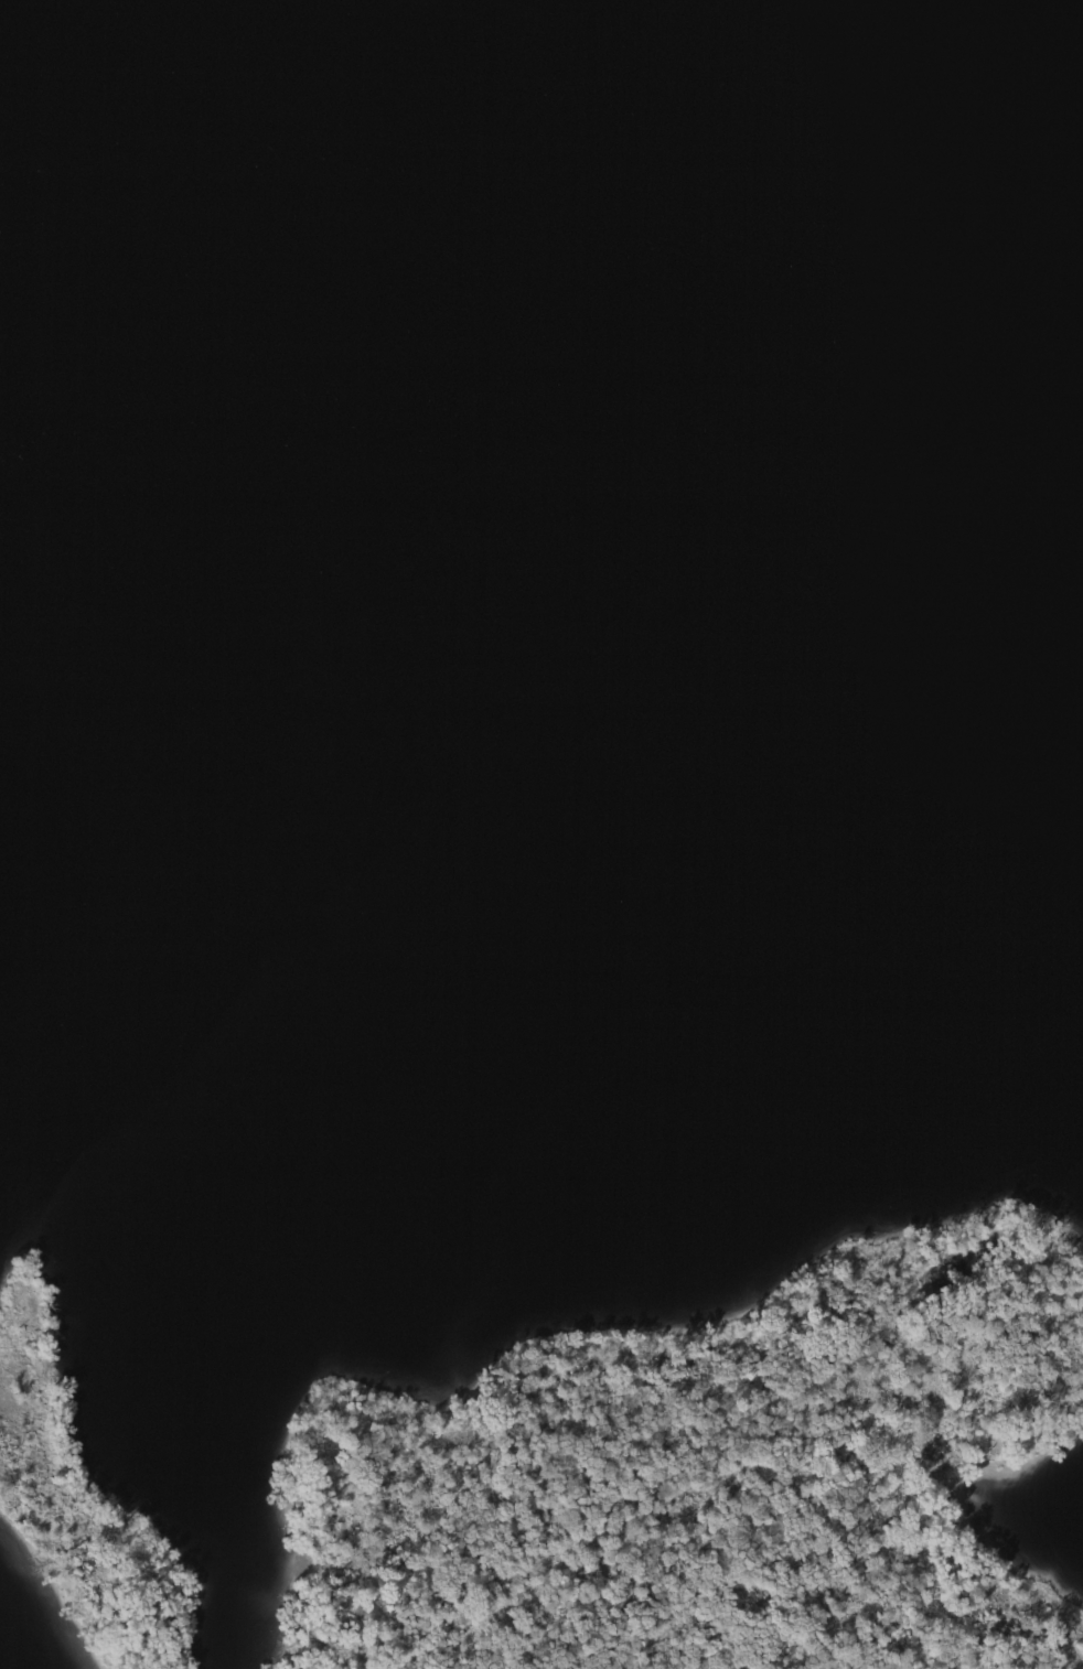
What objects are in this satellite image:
park: (710, 1482)
park: (78, 1495)

